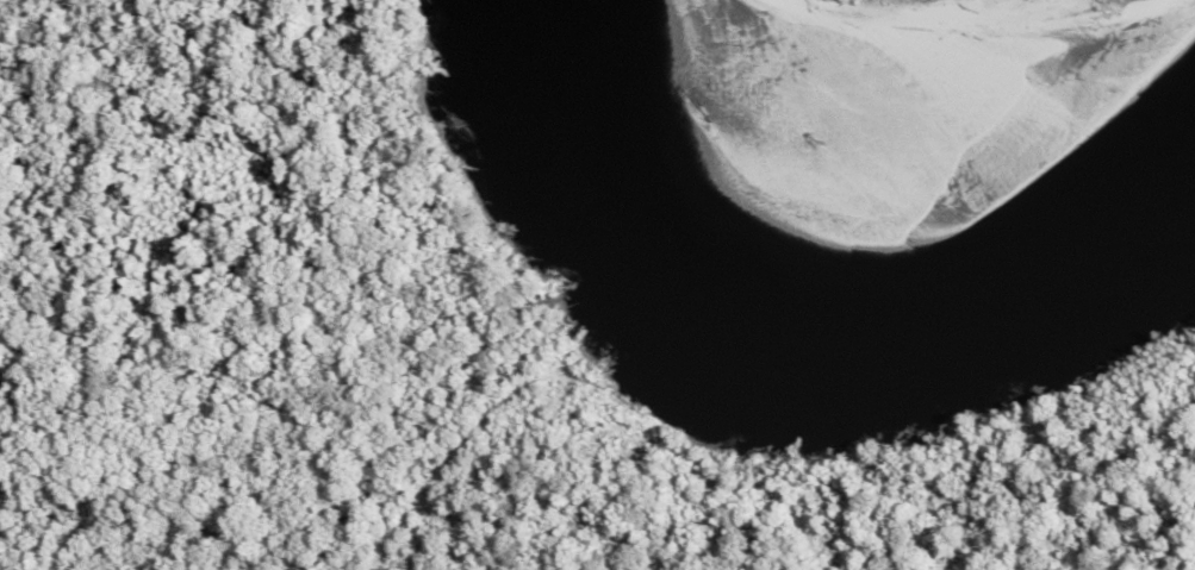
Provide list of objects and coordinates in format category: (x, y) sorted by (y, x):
river: (830, 54)

